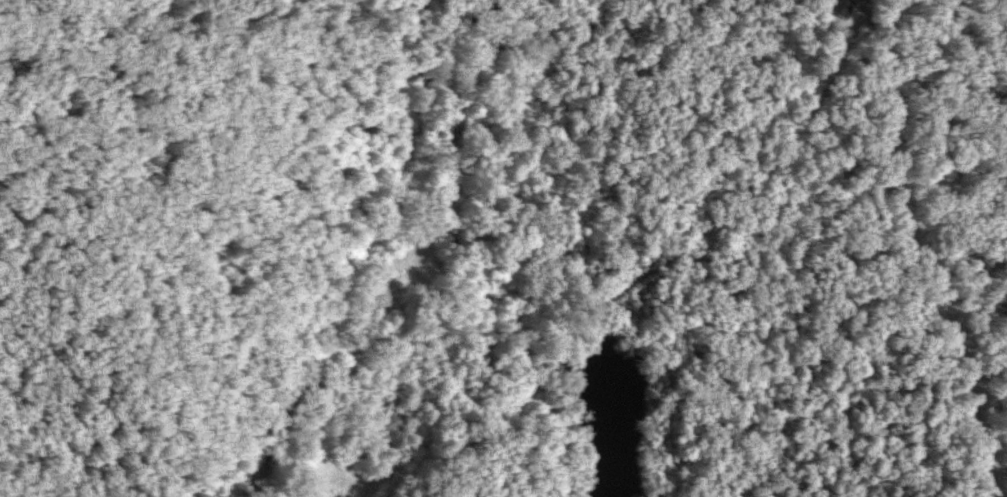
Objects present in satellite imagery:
building: (843, 9)
road: (924, 248)

